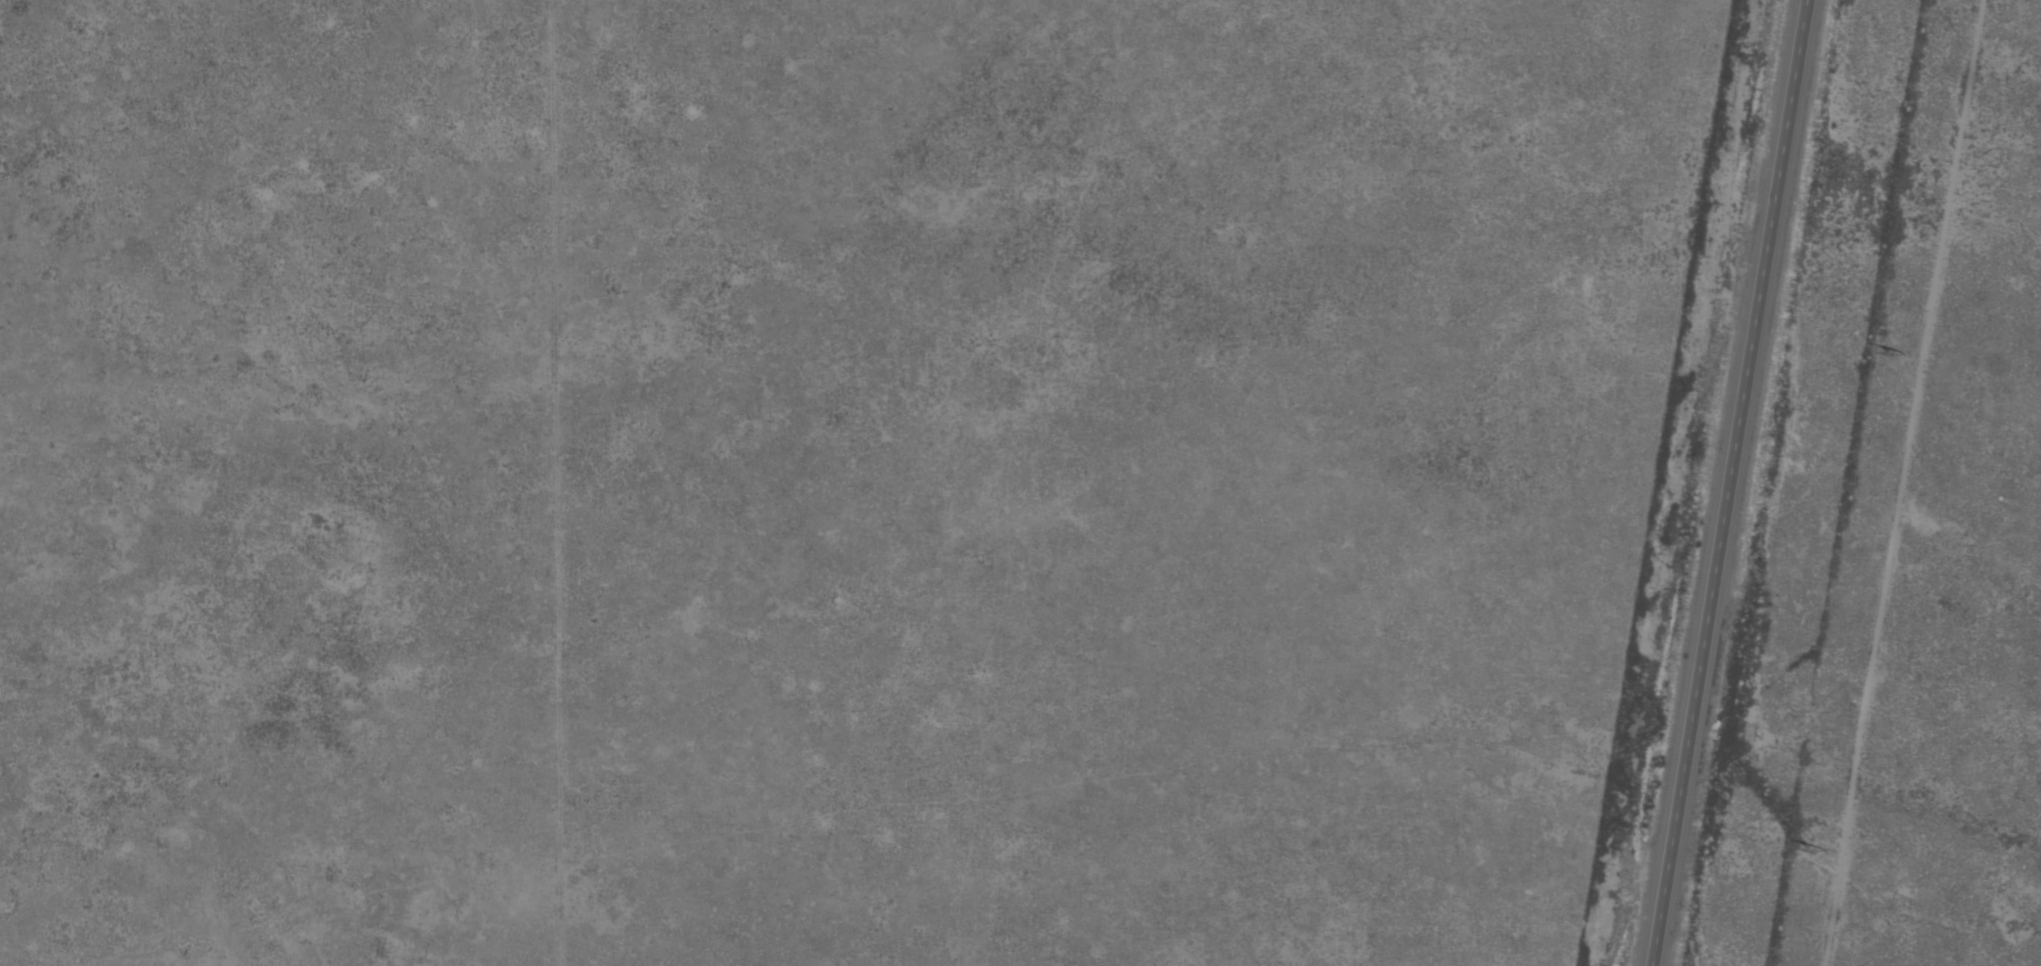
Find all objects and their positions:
power tower: (1901, 353)
road: (1718, 482)
power tower: (1822, 848)

